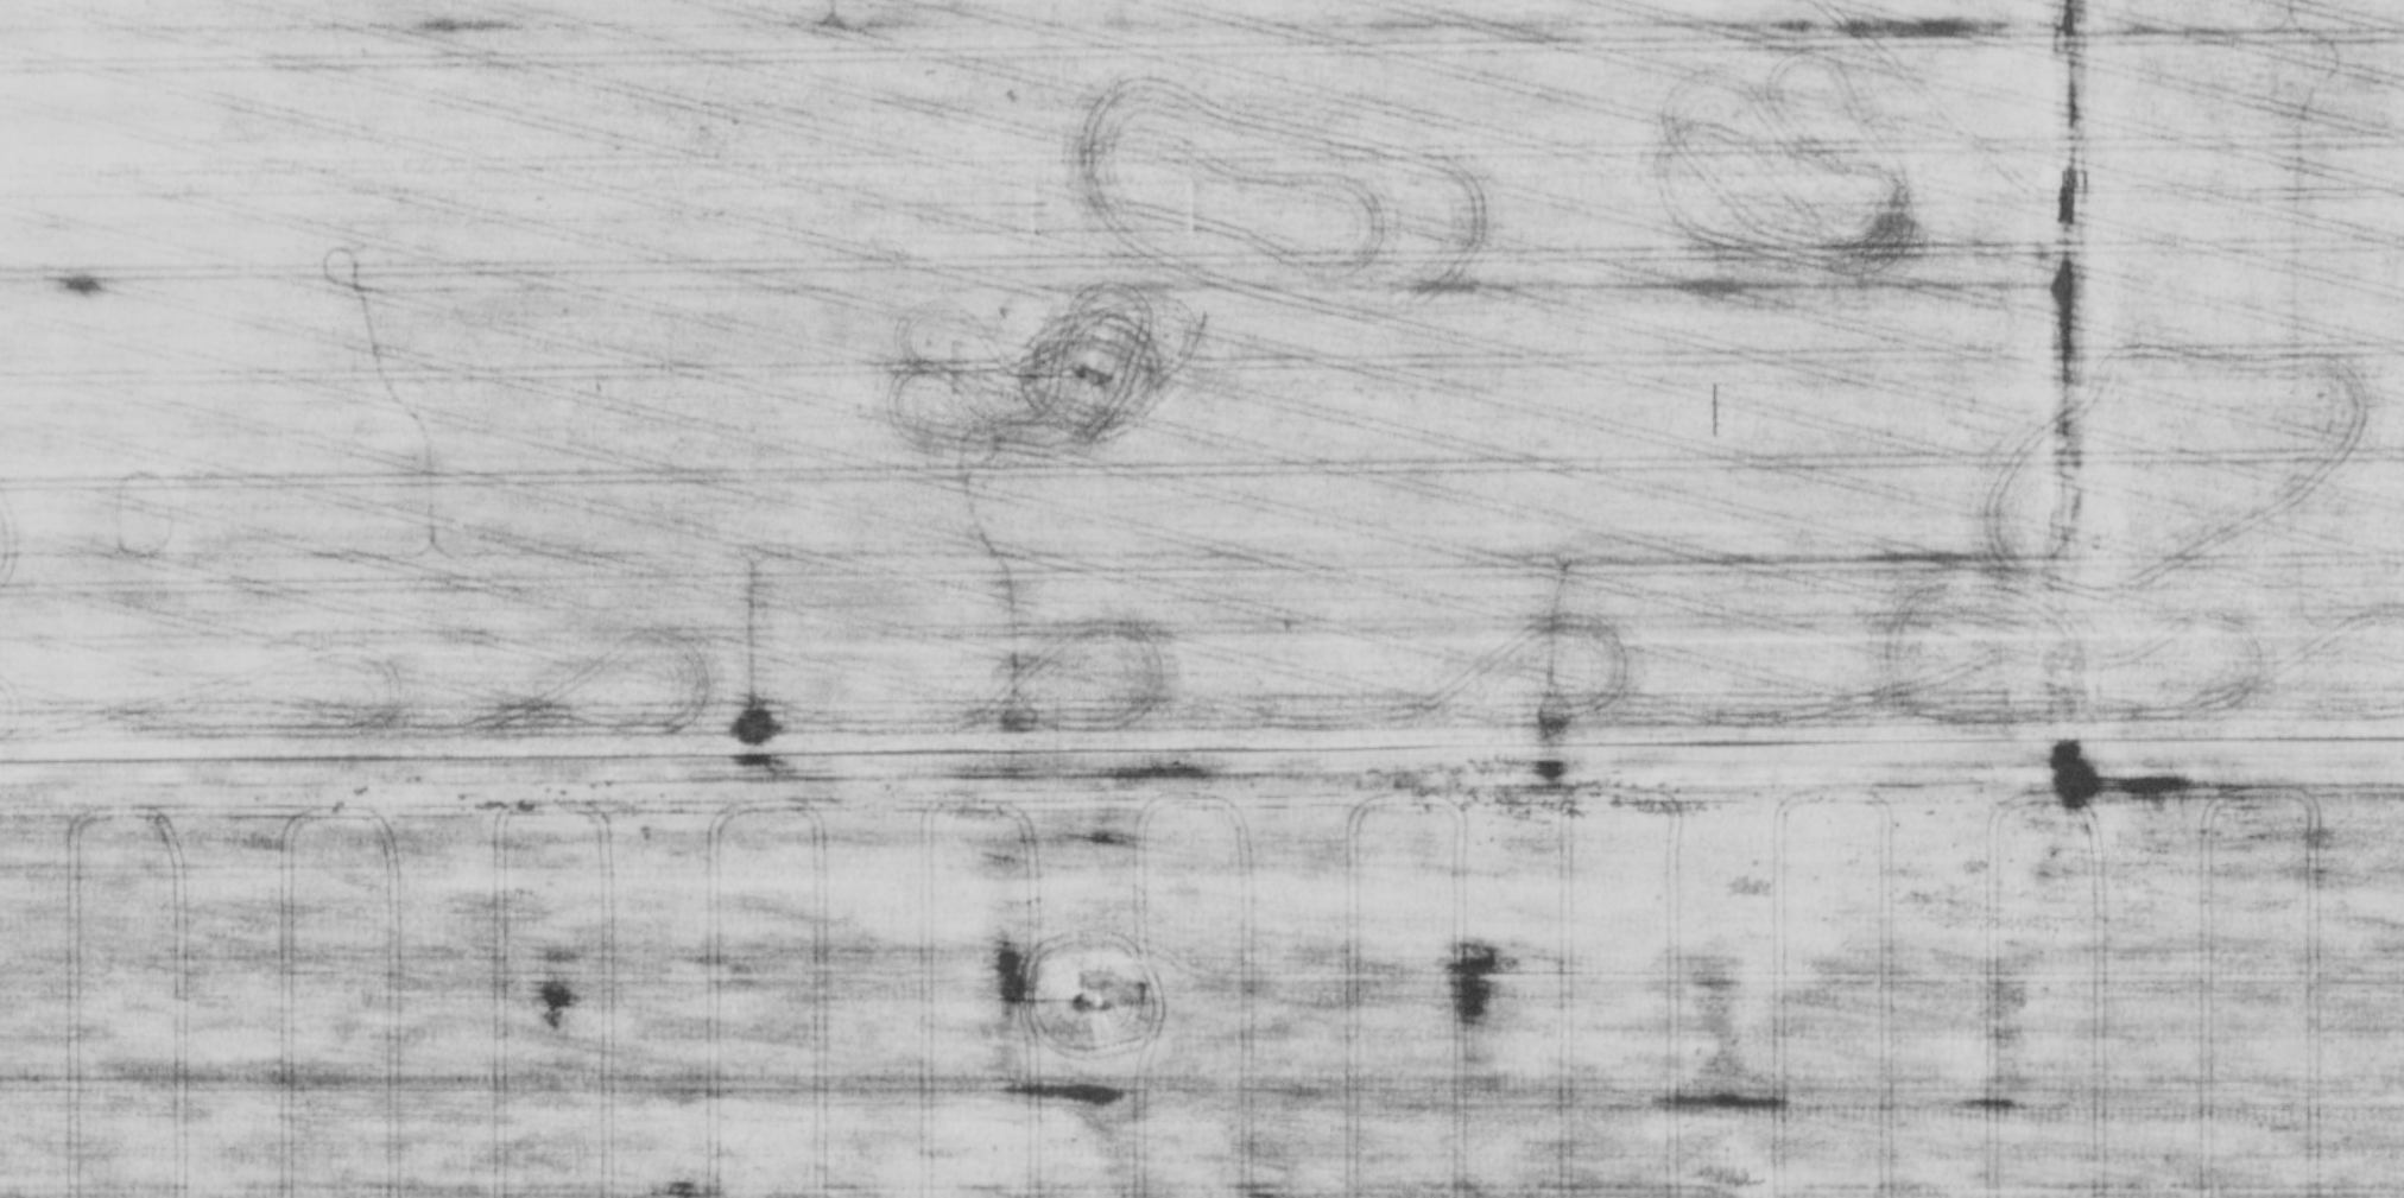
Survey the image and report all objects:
power tower: (1087, 373)
power tower: (1097, 997)

